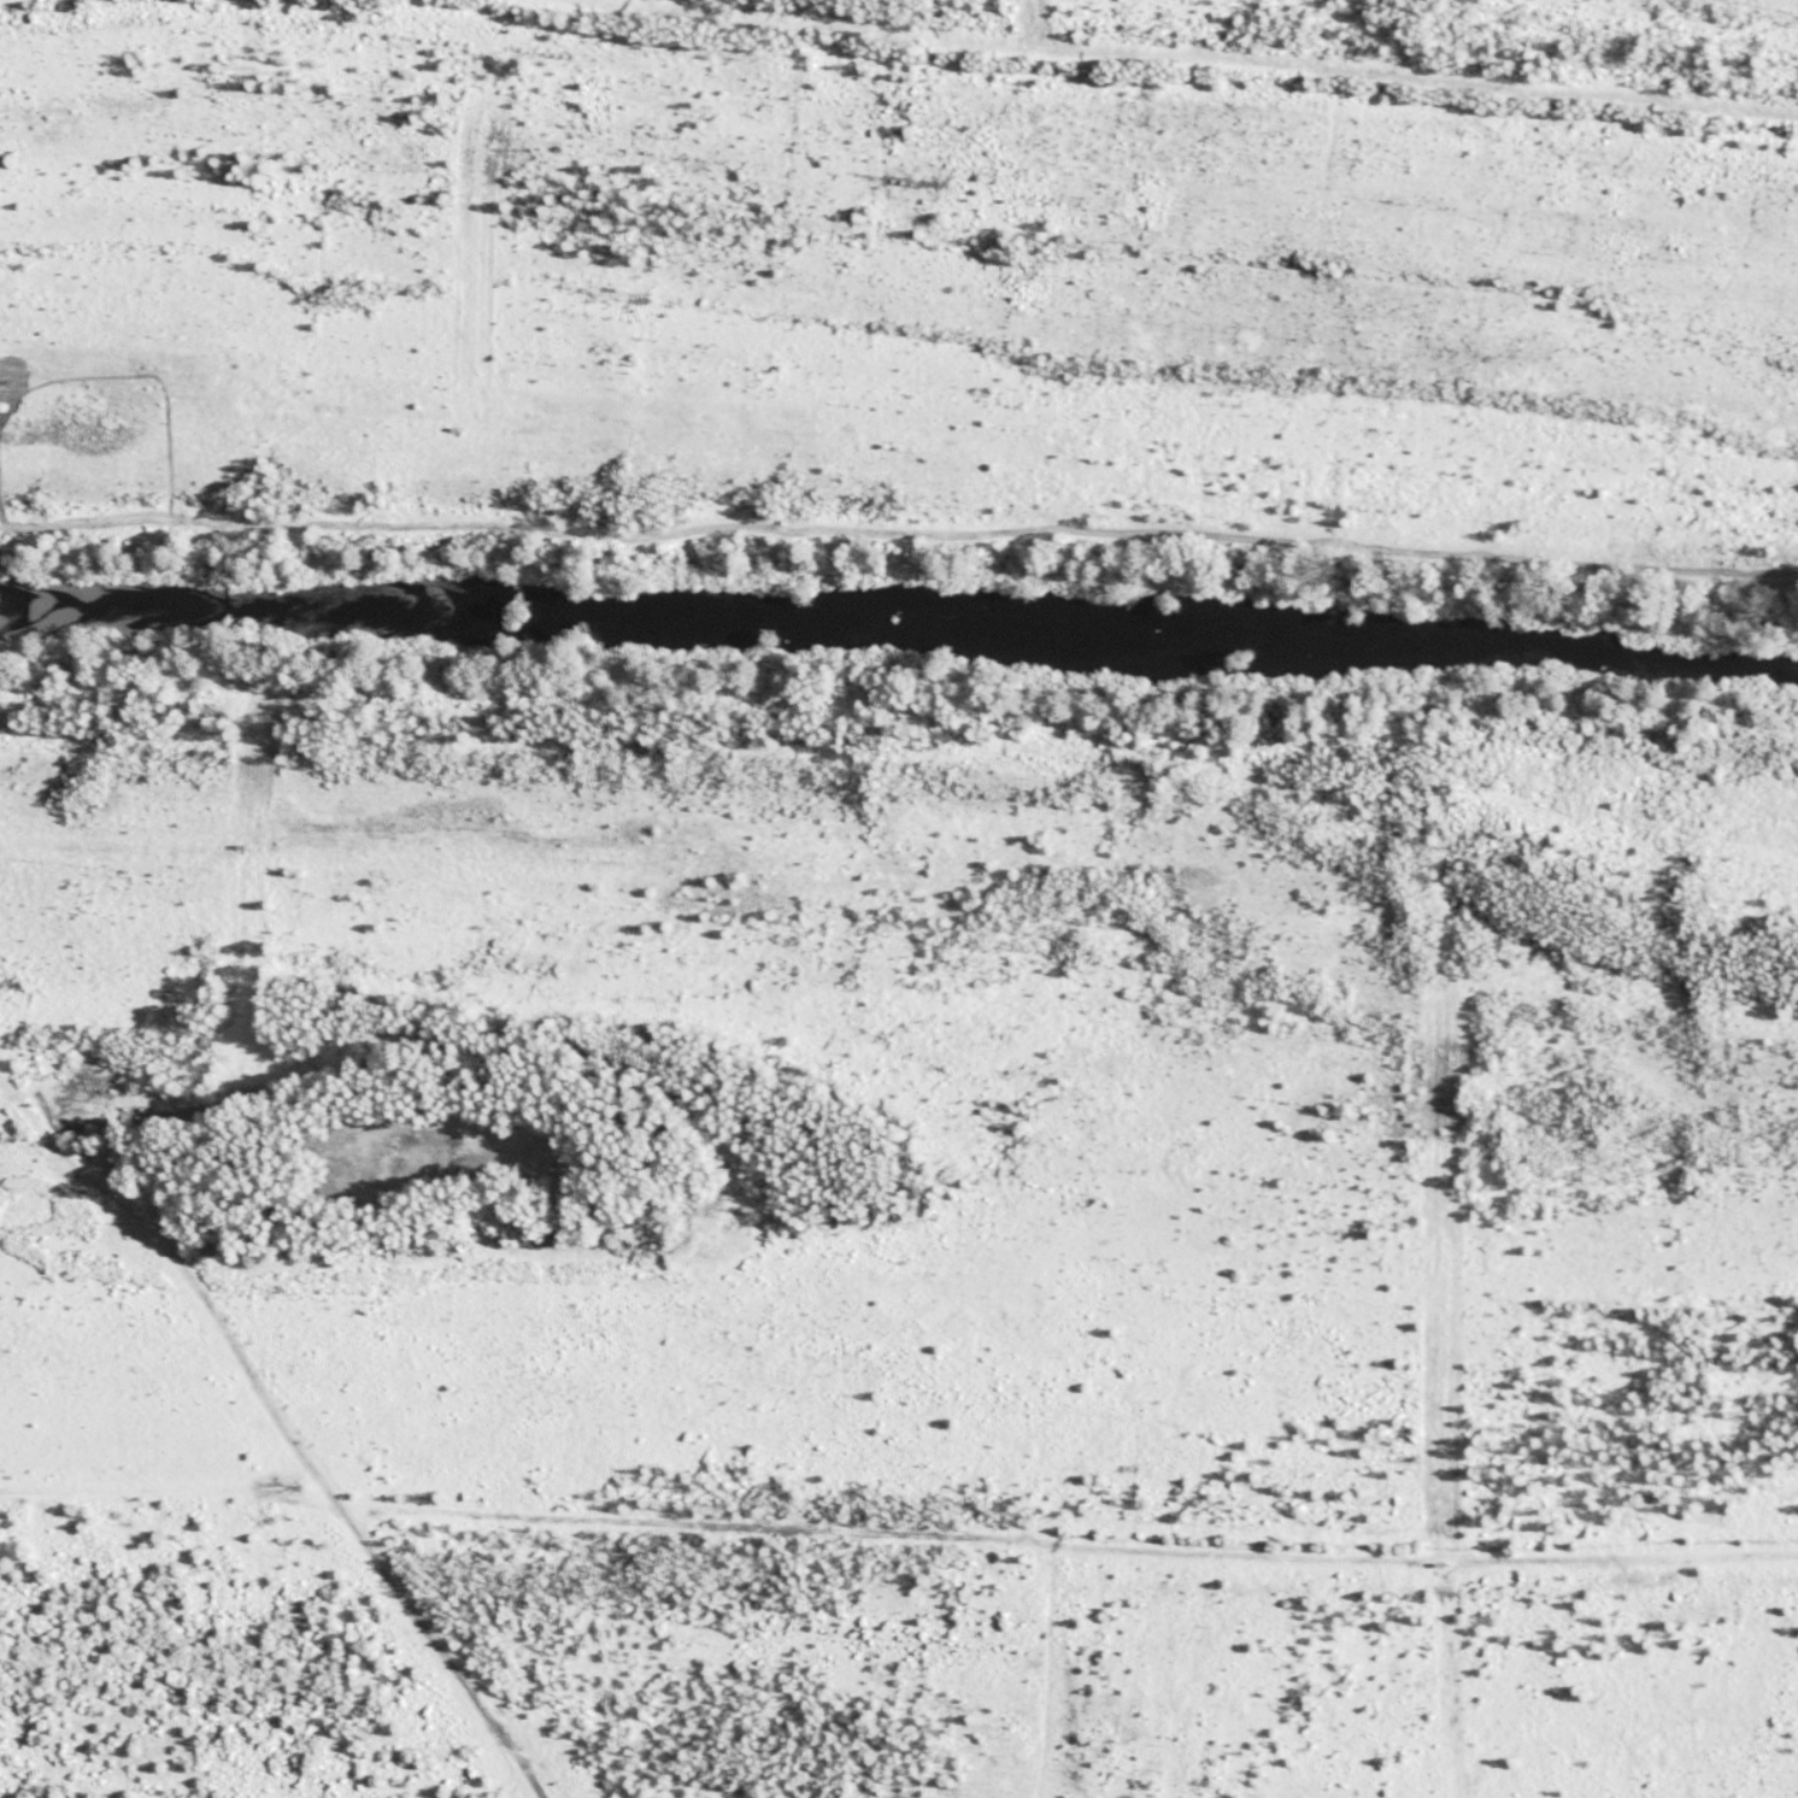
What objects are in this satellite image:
road: (284, 1434)

